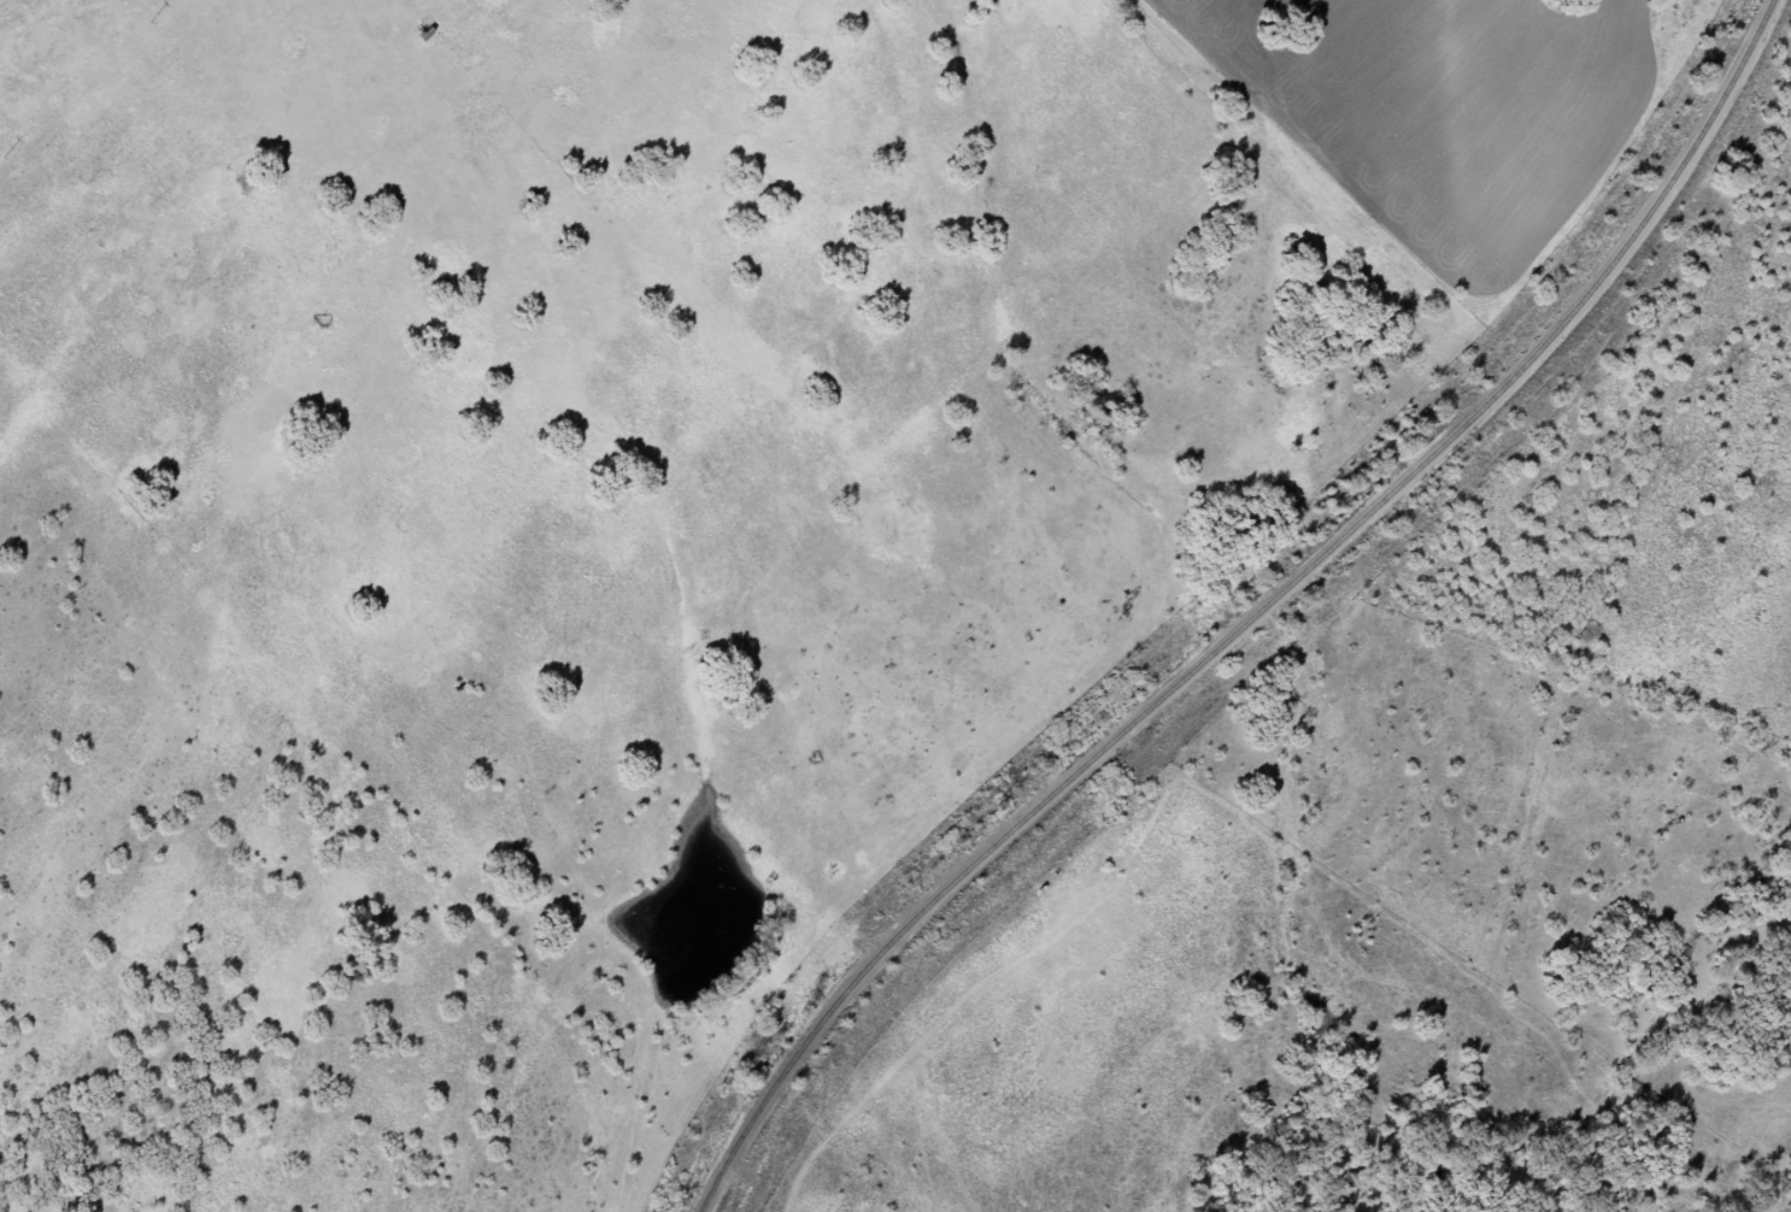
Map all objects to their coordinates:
railway: (1253, 618)

